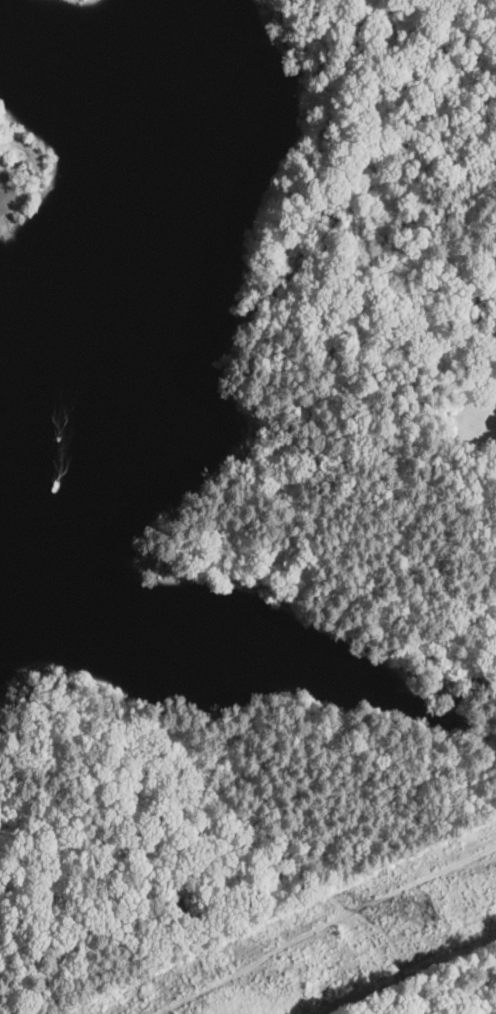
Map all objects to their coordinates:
park: (70, 9)
park: (26, 175)
power tower: (432, 907)

